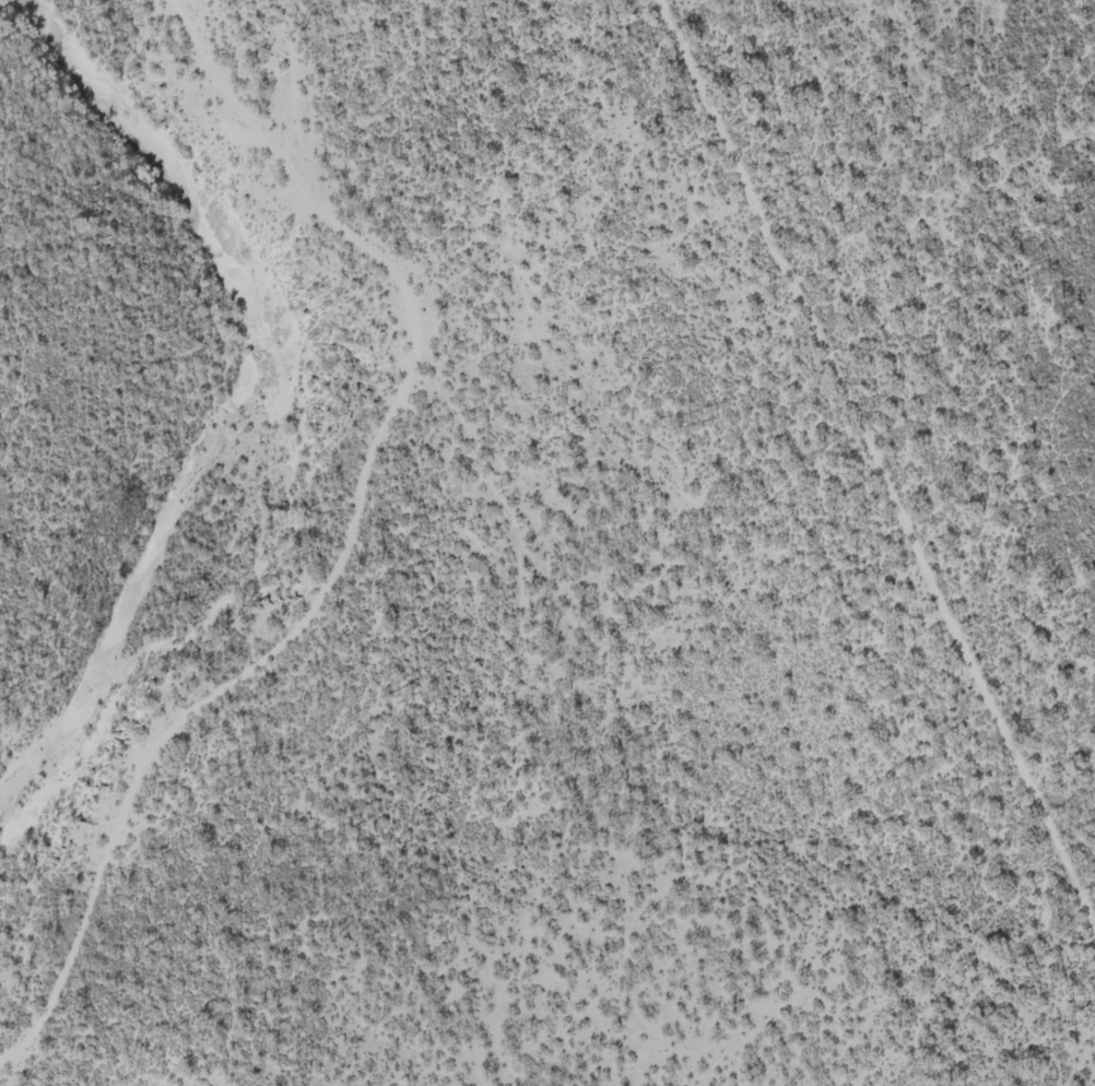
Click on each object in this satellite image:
road: (872, 468)

